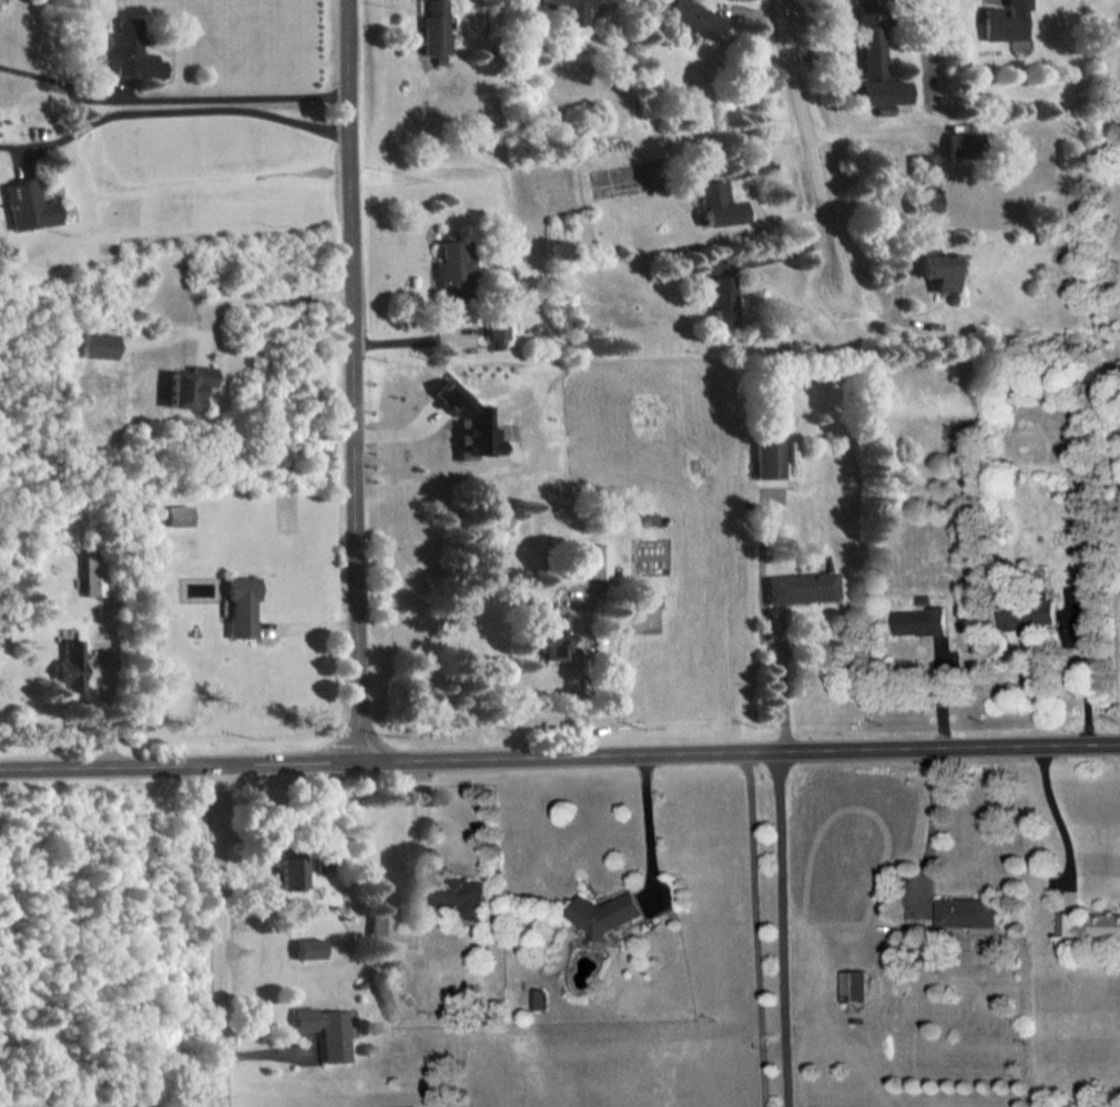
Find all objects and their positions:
building: (693, 17)
building: (1005, 21)
building: (435, 29)
building: (872, 39)
building: (123, 49)
building: (884, 91)
road: (171, 98)
road: (183, 110)
road: (866, 133)
road: (807, 141)
building: (961, 143)
building: (923, 183)
building: (30, 204)
building: (717, 204)
building: (451, 266)
building: (935, 267)
road: (262, 301)
building: (723, 301)
building: (496, 326)
road: (414, 338)
building: (96, 344)
road: (352, 380)
building: (187, 385)
building: (466, 423)
building: (766, 456)
building: (176, 515)
building: (591, 559)
building: (91, 575)
building: (797, 587)
building: (648, 598)
building: (238, 605)
building: (1030, 611)
building: (922, 620)
building: (549, 636)
building: (68, 664)
road: (586, 680)
road: (783, 688)
road: (560, 758)
road: (1060, 817)
road: (646, 821)
road: (931, 822)
road: (420, 825)
building: (320, 863)
building: (288, 873)
building: (465, 895)
building: (967, 911)
building: (608, 913)
building: (1089, 924)
building: (378, 928)
road: (754, 930)
road: (780, 930)
road: (214, 936)
building: (307, 947)
building: (855, 985)
building: (538, 997)
building: (327, 1028)

